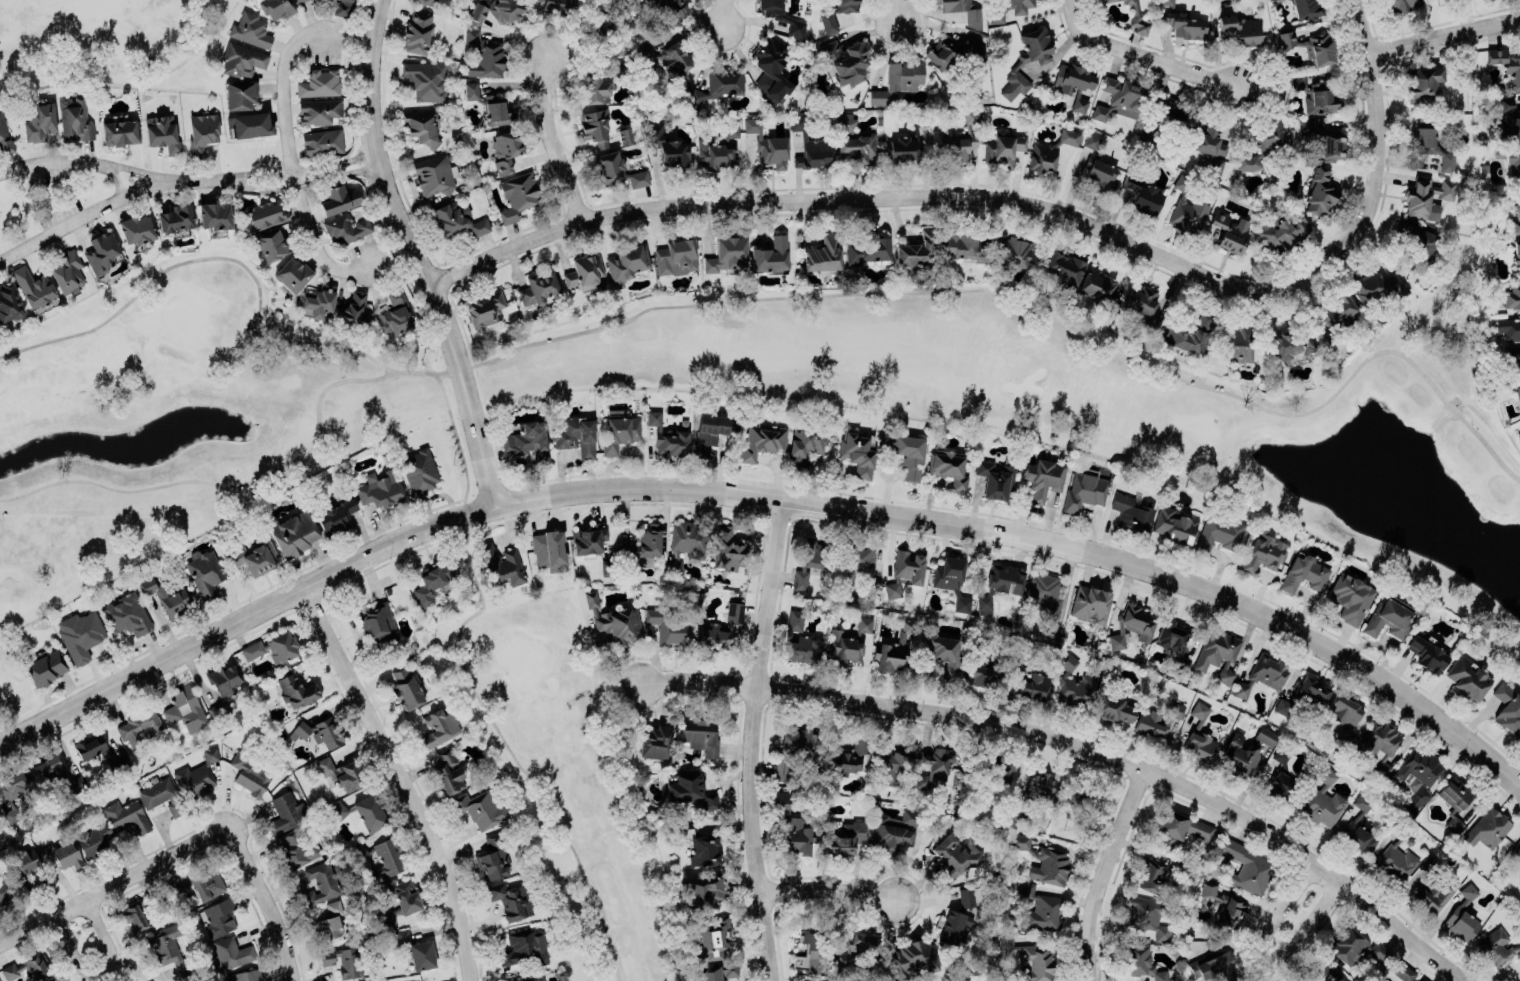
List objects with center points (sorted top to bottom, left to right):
building: (1104, 0)
building: (1108, 0)
building: (298, 1)
building: (427, 2)
building: (558, 5)
building: (1401, 5)
building: (276, 8)
building: (342, 8)
building: (1306, 9)
building: (497, 10)
building: (670, 11)
road: (898, 11)
building: (995, 11)
road: (725, 13)
building: (781, 16)
building: (1137, 18)
building: (973, 19)
building: (828, 21)
building: (1181, 23)
building: (250, 29)
building: (1240, 29)
building: (417, 32)
road: (1446, 33)
park: (100, 39)
building: (1311, 45)
building: (973, 47)
building: (942, 53)
road: (1146, 53)
building: (484, 54)
building: (666, 57)
building: (242, 59)
building: (845, 60)
building: (1017, 63)
building: (773, 64)
building: (1508, 66)
building: (425, 80)
building: (319, 82)
building: (897, 82)
building: (600, 83)
building: (1073, 84)
building: (1423, 84)
building: (718, 86)
building: (1315, 95)
building: (239, 96)
building: (1120, 98)
building: (318, 111)
building: (496, 111)
building: (1508, 117)
building: (75, 118)
building: (39, 120)
building: (1168, 121)
building: (250, 124)
road: (1383, 124)
building: (422, 126)
building: (1305, 126)
building: (595, 127)
building: (731, 129)
building: (162, 132)
building: (202, 132)
building: (120, 133)
building: (1268, 134)
building: (4, 135)
building: (625, 135)
building: (1069, 136)
road: (557, 138)
building: (956, 139)
building: (322, 142)
building: (855, 142)
building: (767, 144)
building: (1331, 144)
building: (1431, 145)
building: (811, 146)
building: (1209, 146)
building: (1002, 147)
building: (902, 148)
building: (505, 150)
building: (674, 154)
building: (712, 154)
road: (289, 156)
building: (1042, 156)
road: (92, 159)
building: (1510, 160)
building: (1248, 161)
building: (1099, 166)
road: (300, 168)
building: (617, 171)
building: (433, 174)
road: (115, 179)
road: (301, 183)
building: (1319, 193)
road: (897, 194)
building: (518, 195)
building: (1142, 195)
building: (339, 196)
building: (1426, 196)
road: (106, 202)
building: (1187, 209)
building: (1516, 214)
building: (264, 215)
building: (215, 217)
building: (455, 219)
building: (175, 220)
building: (345, 228)
building: (1282, 228)
building: (137, 229)
building: (1230, 230)
building: (1415, 244)
building: (270, 245)
building: (964, 245)
building: (866, 249)
building: (102, 252)
building: (916, 252)
building: (1517, 253)
building: (822, 254)
building: (1013, 254)
road: (415, 255)
building: (726, 255)
building: (770, 256)
building: (675, 257)
road: (236, 260)
building: (627, 263)
building: (1064, 267)
building: (584, 271)
building: (68, 272)
building: (292, 274)
building: (1377, 287)
building: (539, 288)
building: (1099, 288)
building: (35, 289)
building: (1512, 296)
building: (317, 297)
building: (9, 302)
building: (1143, 304)
building: (486, 309)
building: (354, 310)
road: (1032, 310)
building: (394, 312)
building: (1334, 314)
building: (1509, 327)
building: (1189, 334)
building: (1238, 341)
building: (1290, 344)
building: (1513, 358)
building: (1516, 390)
building: (712, 430)
building: (619, 432)
building: (574, 435)
building: (666, 436)
building: (762, 439)
building: (527, 442)
building: (805, 443)
building: (858, 453)
building: (907, 453)
road: (209, 461)
building: (949, 467)
building: (419, 469)
building: (1043, 478)
building: (995, 480)
building: (379, 485)
building: (1084, 490)
road: (765, 496)
building: (1132, 515)
building: (335, 516)
building: (1174, 525)
building: (293, 532)
building: (1218, 532)
building: (588, 539)
building: (644, 544)
building: (685, 544)
building: (730, 548)
building: (548, 550)
building: (1264, 552)
building: (814, 553)
building: (255, 555)
building: (500, 562)
building: (858, 564)
building: (606, 570)
building: (204, 571)
building: (904, 571)
building: (1304, 573)
building: (799, 580)
building: (951, 580)
building: (433, 581)
building: (999, 583)
building: (1043, 592)
building: (169, 593)
building: (1349, 597)
building: (1090, 600)
road: (230, 606)
park: (521, 610)
building: (127, 612)
building: (375, 617)
building: (614, 620)
building: (1387, 620)
building: (1132, 625)
building: (666, 626)
building: (720, 628)
building: (80, 633)
building: (799, 639)
building: (848, 640)
building: (1174, 642)
building: (885, 643)
building: (273, 645)
building: (942, 650)
building: (1218, 654)
building: (1427, 655)
building: (47, 665)
building: (986, 670)
building: (1262, 675)
building: (1468, 677)
building: (225, 678)
road: (696, 678)
building: (1030, 679)
building: (1073, 684)
road: (472, 686)
building: (295, 688)
building: (406, 689)
building: (1305, 693)
building: (1112, 705)
building: (1507, 706)
building: (185, 709)
building: (1176, 709)
building: (219, 710)
building: (1343, 714)
building: (1151, 722)
building: (139, 724)
building: (439, 725)
building: (318, 732)
building: (696, 733)
building: (1199, 735)
building: (1519, 737)
road: (754, 739)
building: (1519, 741)
building: (655, 742)
building: (1379, 744)
building: (90, 745)
building: (1246, 748)
building: (793, 751)
building: (1280, 755)
building: (847, 759)
building: (895, 762)
road: (1143, 762)
building: (934, 767)
building: (988, 767)
building: (449, 770)
building: (340, 772)
building: (251, 773)
building: (58, 774)
building: (196, 775)
building: (1417, 776)
road: (400, 779)
building: (1280, 785)
building: (1038, 786)
building: (690, 790)
building: (15, 792)
building: (1076, 792)
building: (161, 794)
building: (1323, 800)
building: (1453, 800)
building: (781, 802)
building: (480, 806)
building: (362, 809)
building: (286, 812)
building: (126, 816)
building: (1359, 824)
building: (1487, 826)
building: (1179, 828)
building: (895, 830)
building: (795, 835)
building: (91, 838)
building: (699, 843)
building: (295, 851)
building: (1516, 851)
building: (359, 852)
building: (61, 854)
building: (955, 855)
building: (386, 859)
building: (492, 859)
building: (1043, 859)
building: (1396, 861)
building: (23, 867)
building: (1245, 867)
road: (1106, 868)
building: (320, 882)
road: (114, 883)
building: (196, 884)
road: (835, 885)
building: (1433, 886)
building: (4, 888)
building: (702, 888)
building: (968, 896)
building: (510, 899)
building: (402, 900)
road: (263, 901)
building: (1226, 903)
road: (1295, 903)
building: (1039, 909)
building: (137, 914)
building: (220, 915)
building: (1463, 915)
building: (1146, 916)
building: (332, 923)
building: (954, 927)
building: (713, 937)
building: (1354, 945)
building: (1498, 947)
building: (523, 948)
building: (168, 949)
building: (418, 949)
building: (859, 950)
building: (231, 951)
building: (812, 952)
building: (910, 955)
building: (1028, 958)
building: (343, 960)
building: (1140, 962)
road: (99, 967)
building: (1213, 967)
building: (30, 969)
building: (718, 971)
building: (1321, 971)
building: (1403, 972)
building: (245, 975)
building: (530, 979)
building: (54, 980)
building: (1419, 980)

